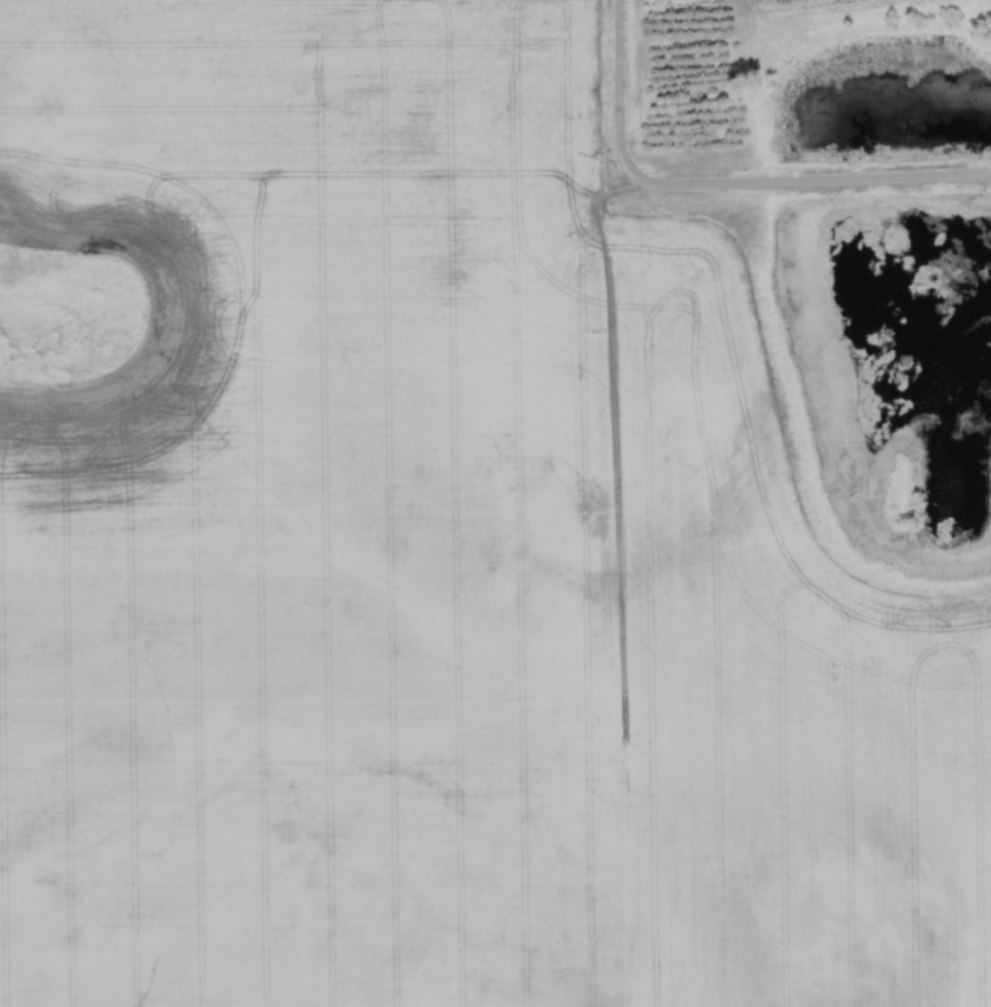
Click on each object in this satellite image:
road: (725, 181)

